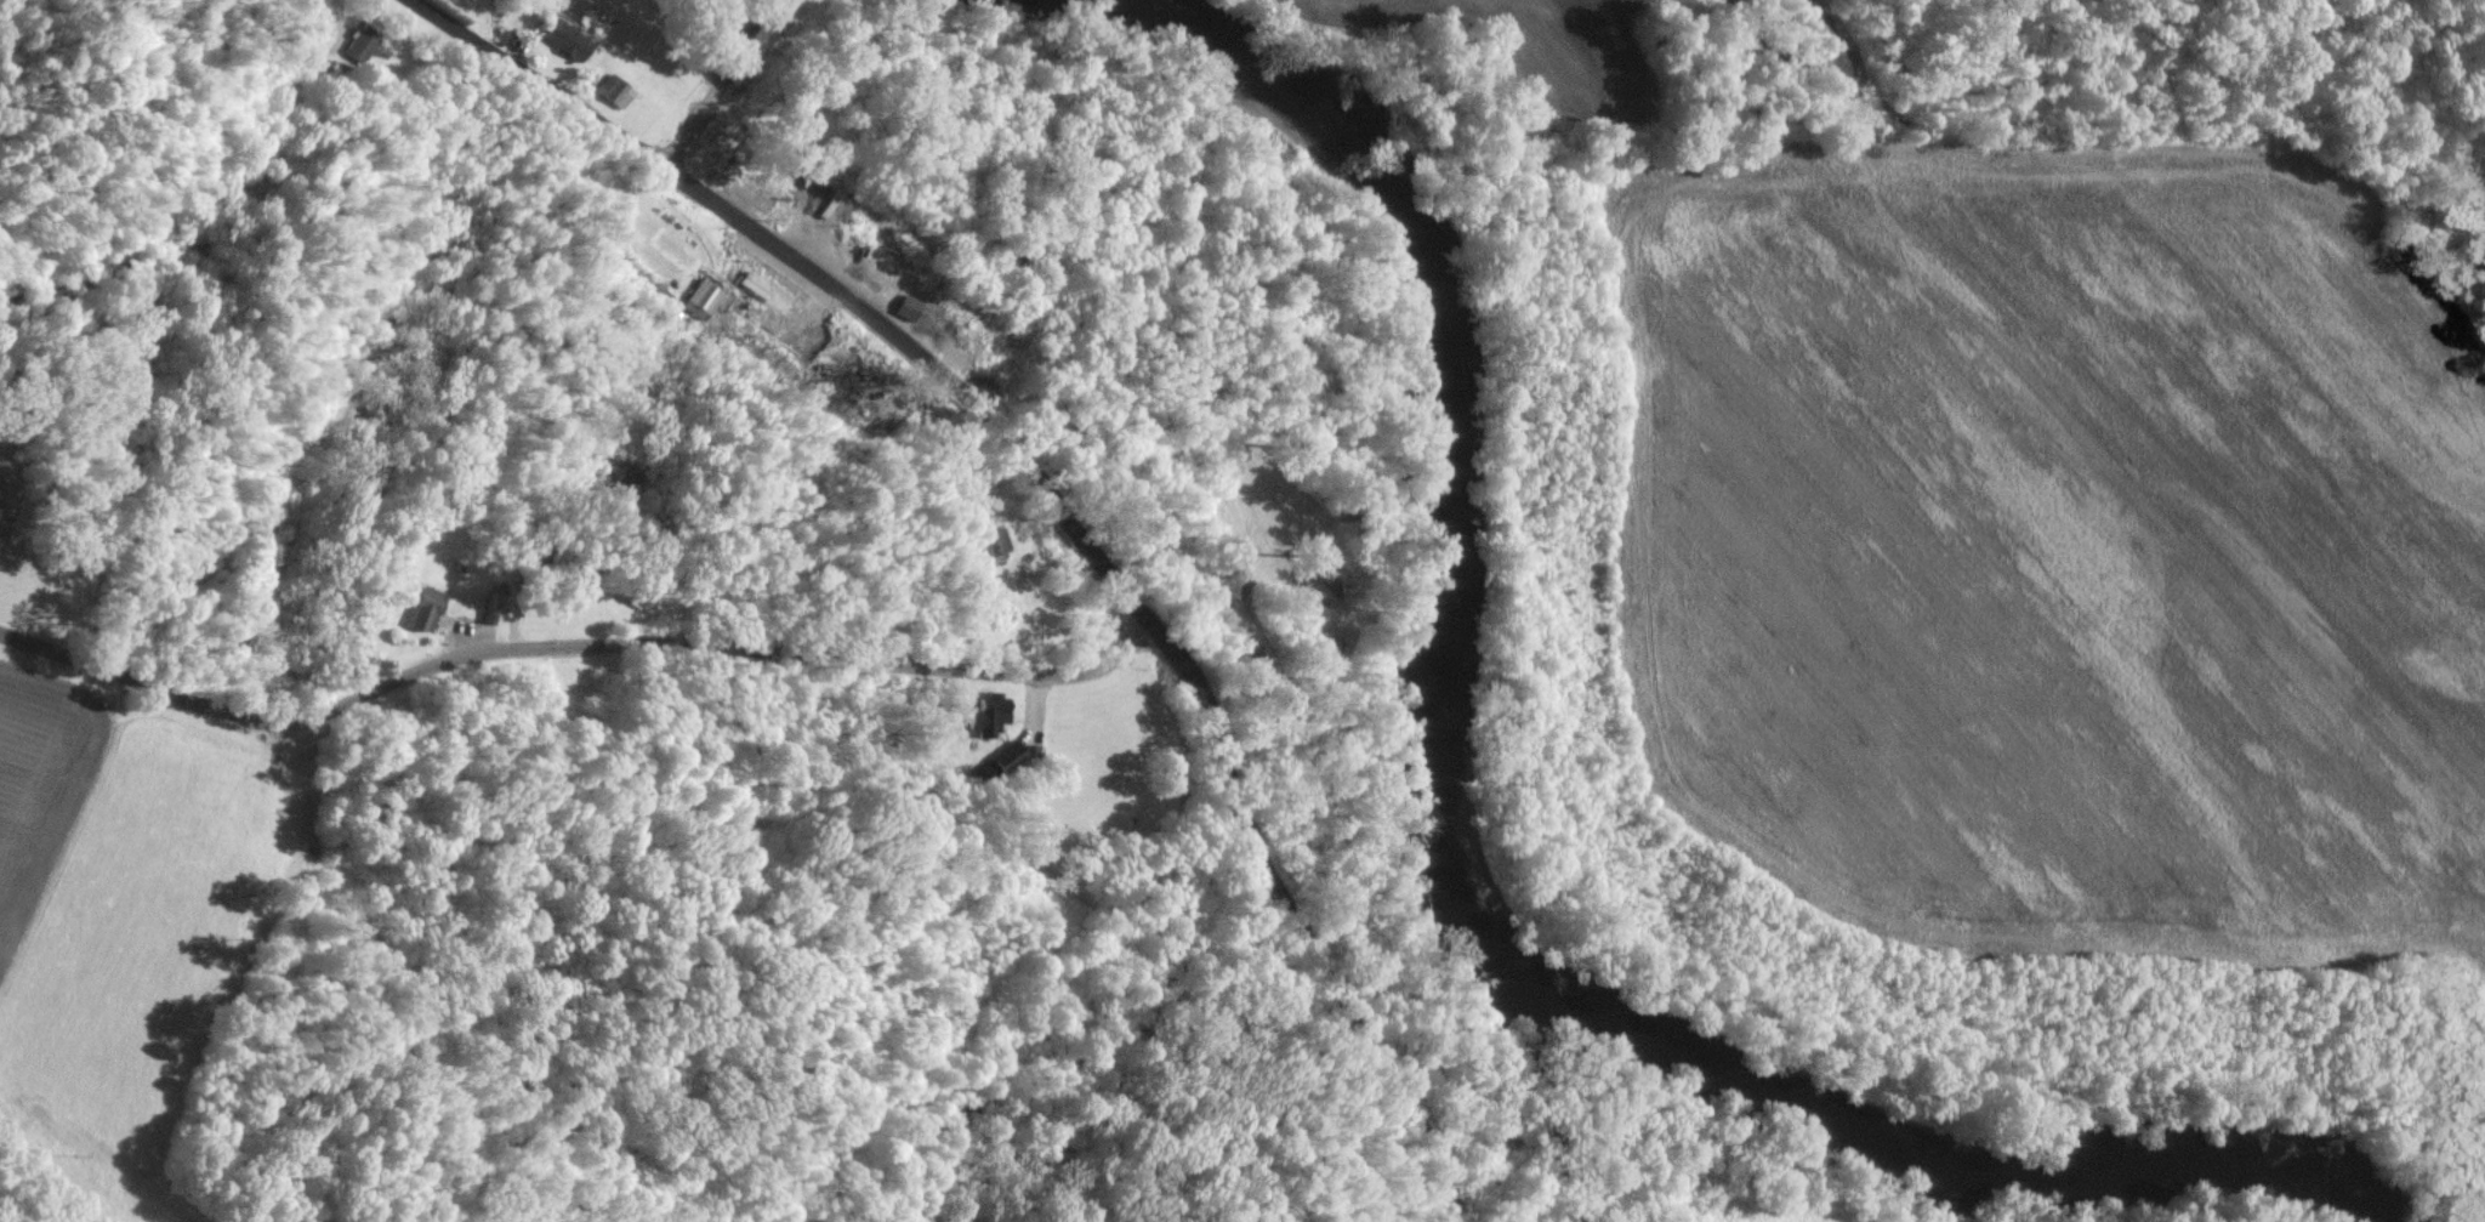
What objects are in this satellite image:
road: (757, 38)
building: (563, 39)
building: (360, 42)
building: (614, 90)
road: (699, 121)
parking lot: (777, 267)
building: (767, 291)
building: (700, 299)
road: (1056, 499)
building: (993, 541)
building: (423, 607)
road: (570, 655)
building: (991, 706)
river: (1456, 903)

